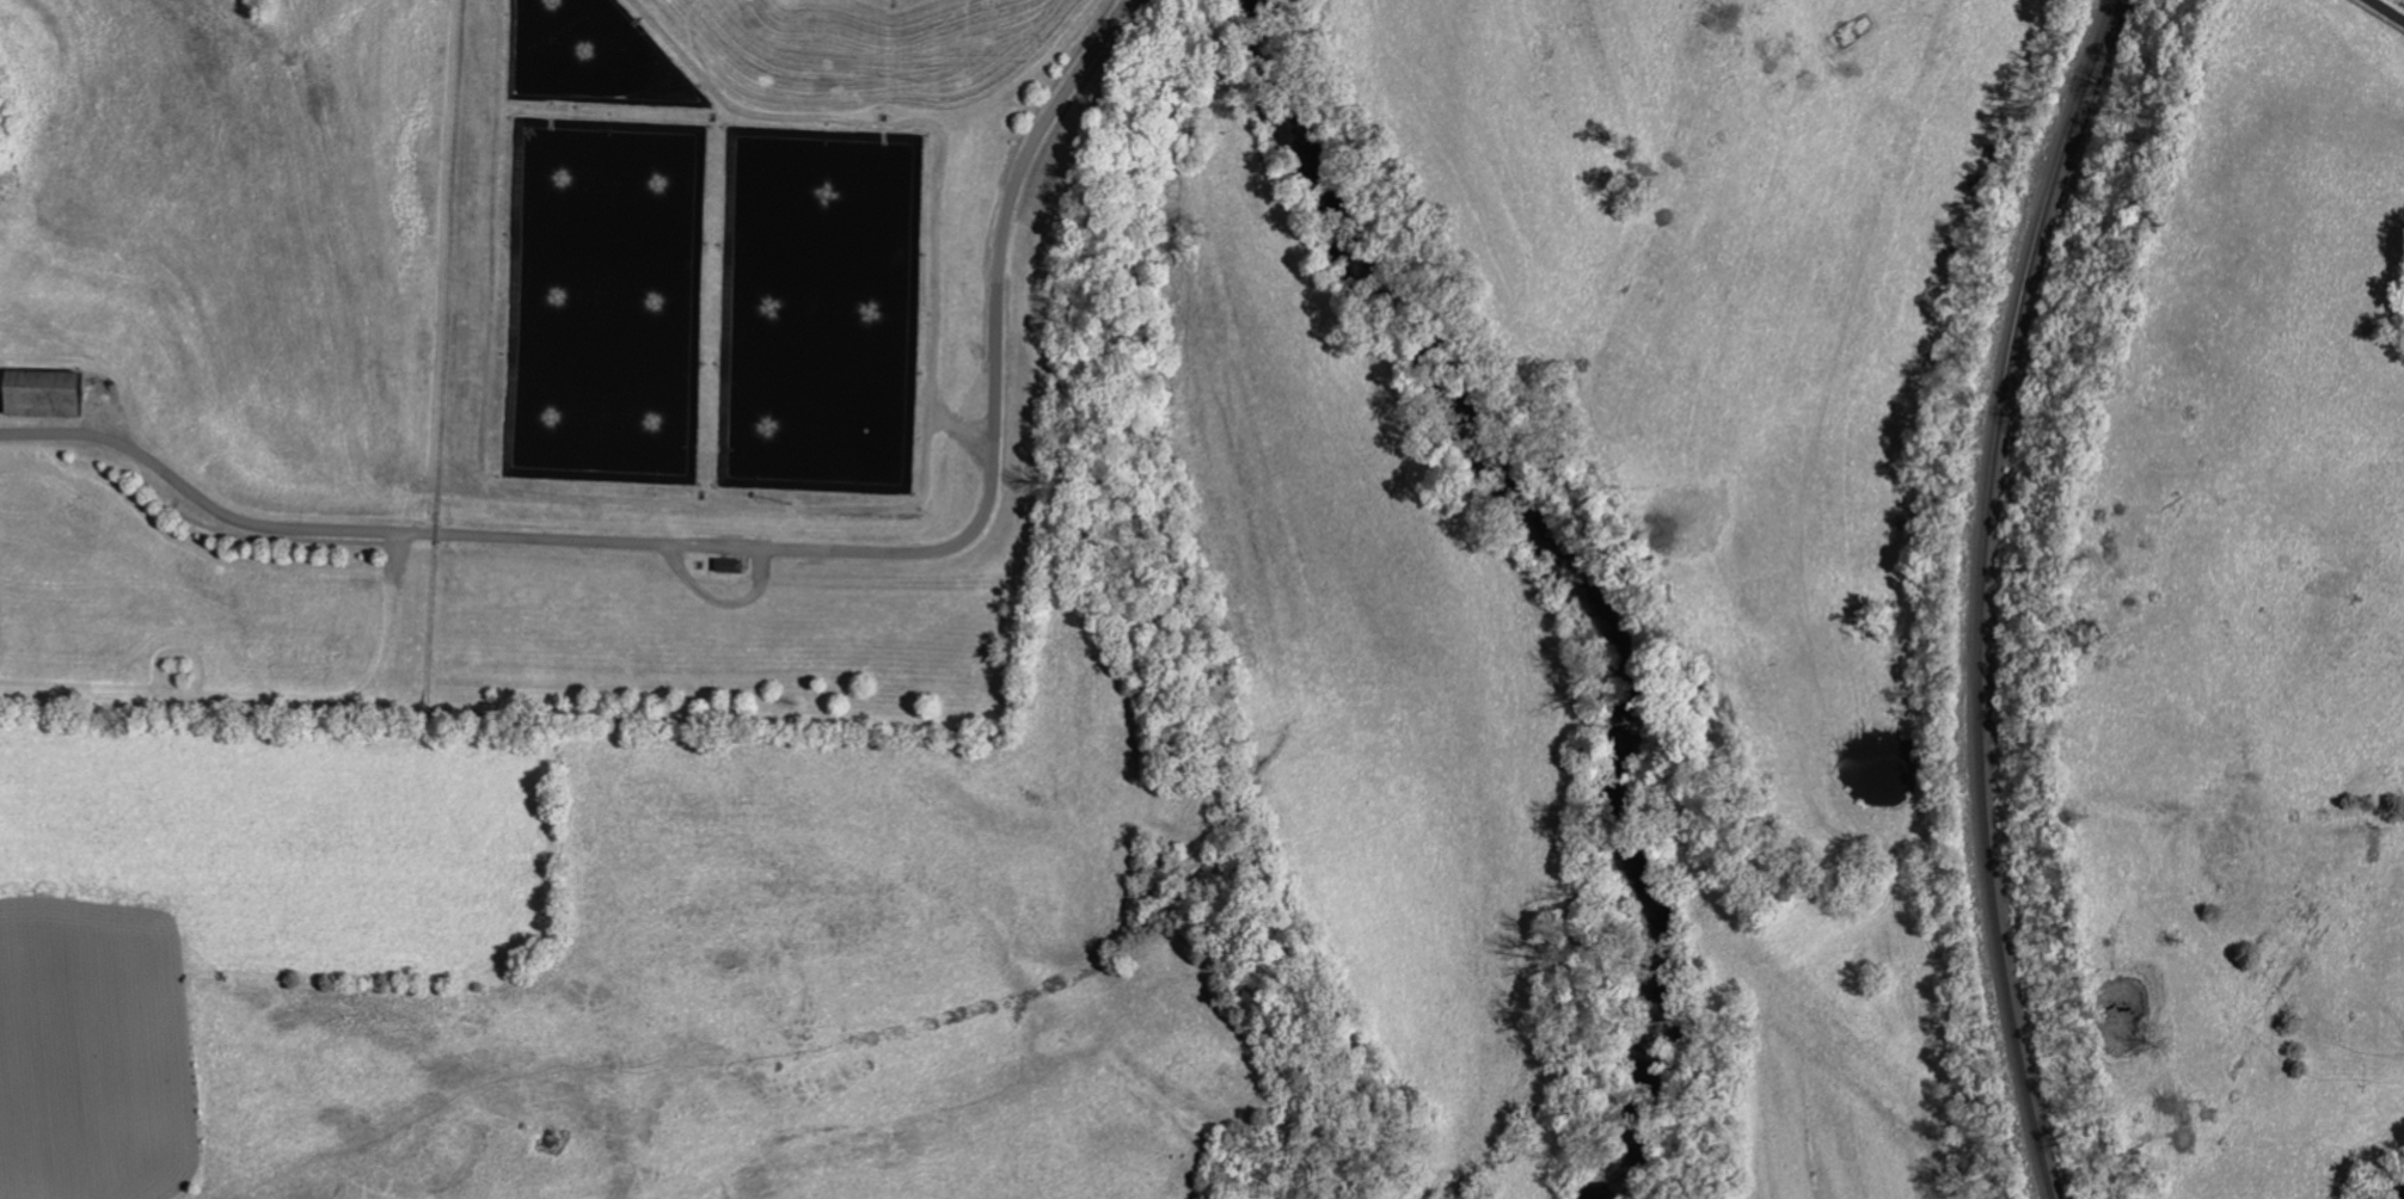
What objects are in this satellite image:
road: (2390, 10)
wastewater plant: (754, 346)
road: (763, 549)
railway: (1985, 592)
road: (722, 604)

